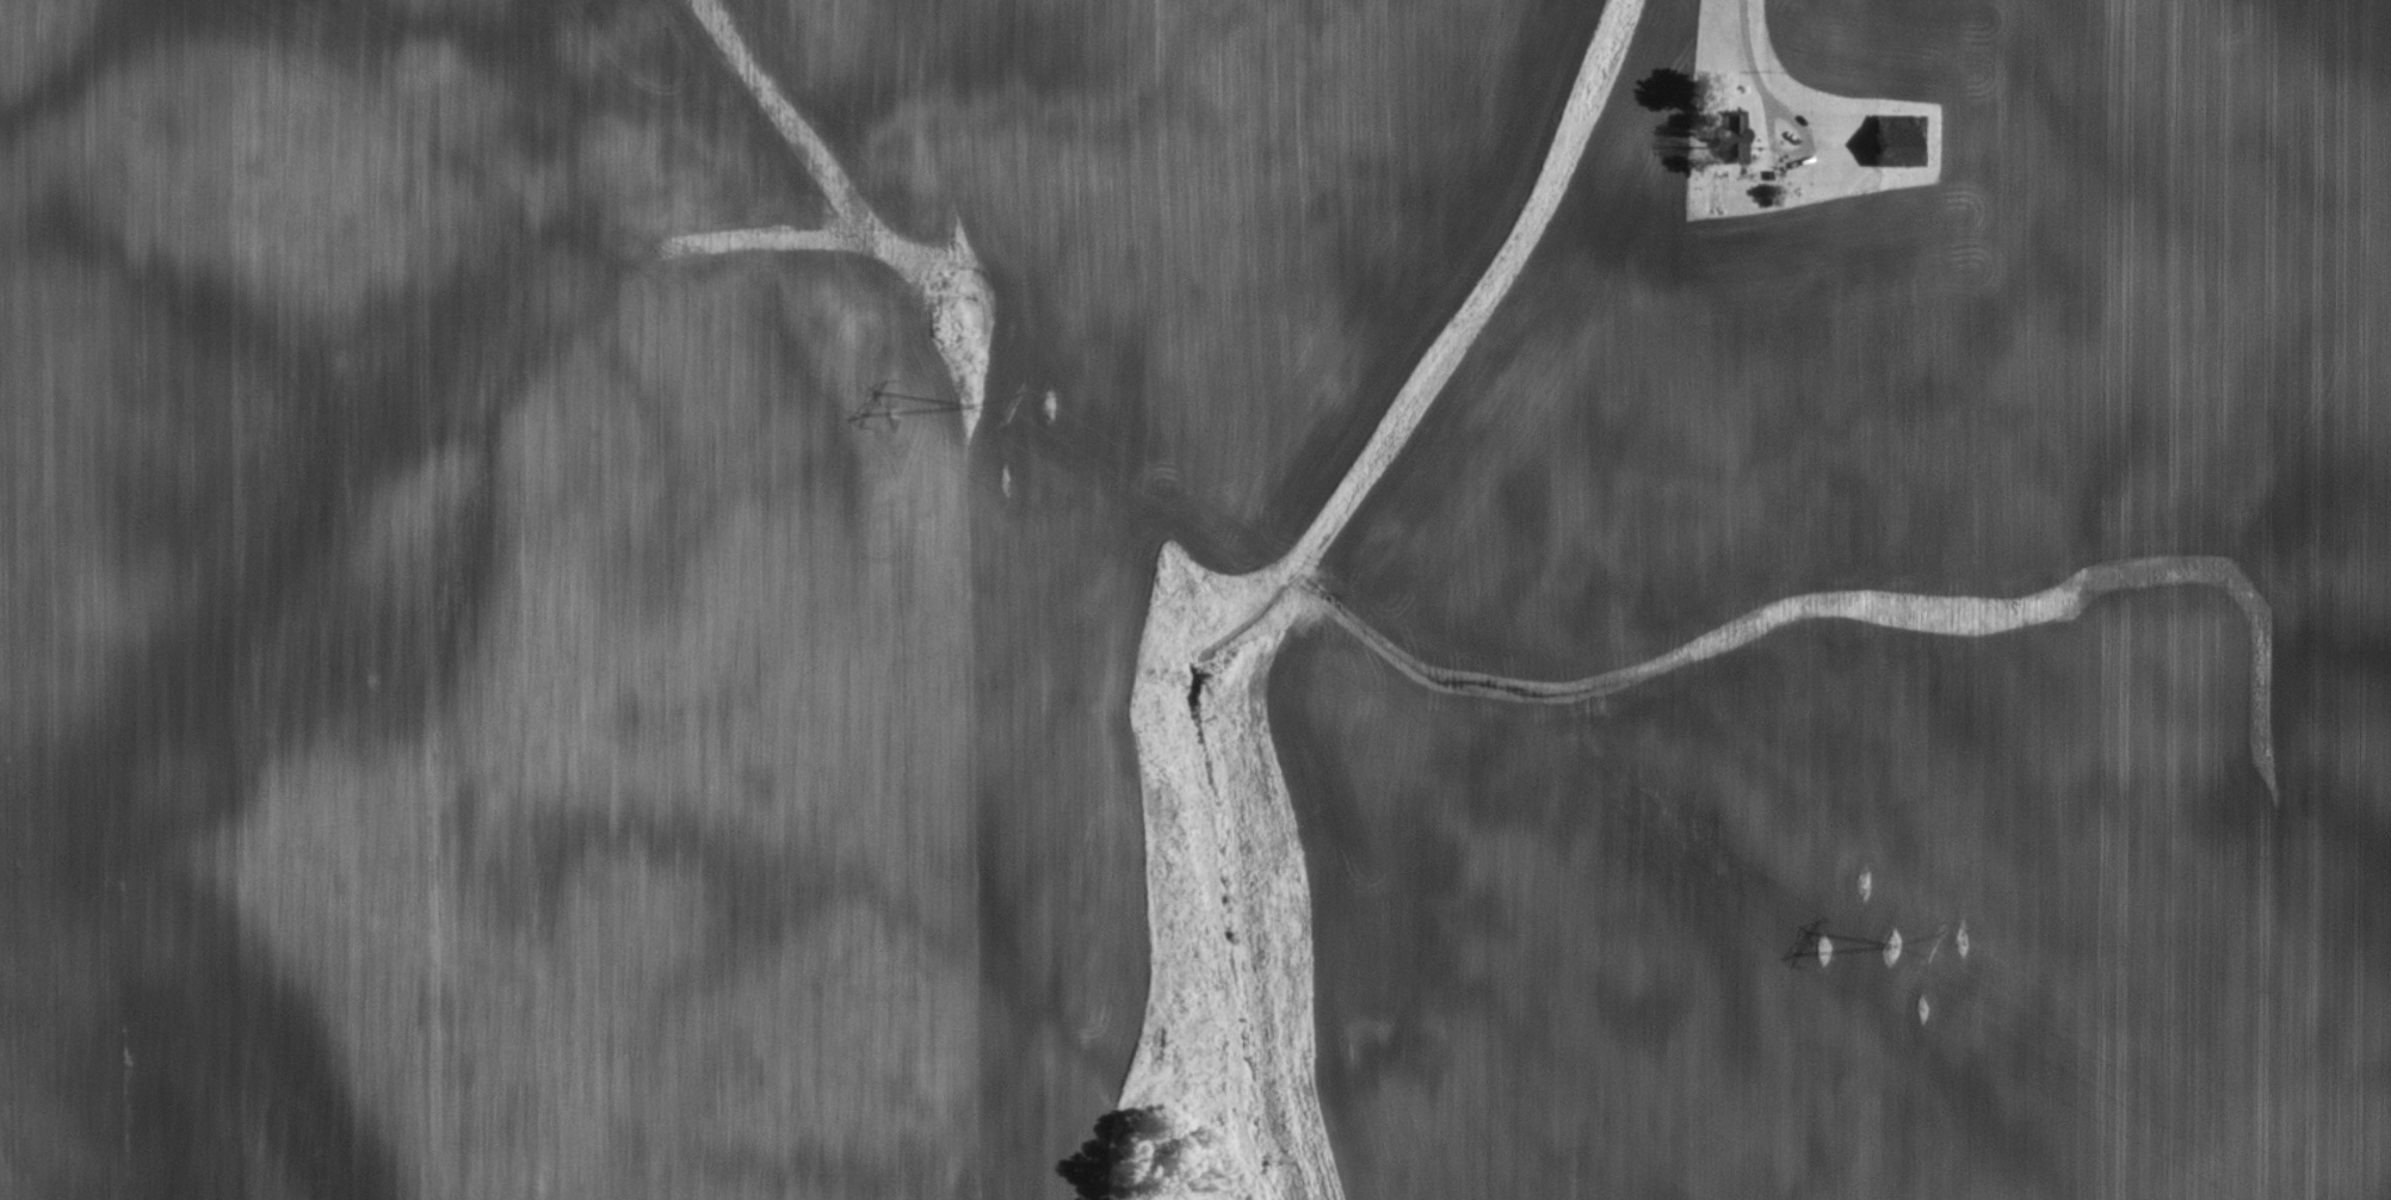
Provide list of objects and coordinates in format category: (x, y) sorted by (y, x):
road: (1746, 54)
building: (1899, 143)
road: (1799, 150)
power tower: (966, 403)
power tower: (1892, 944)

